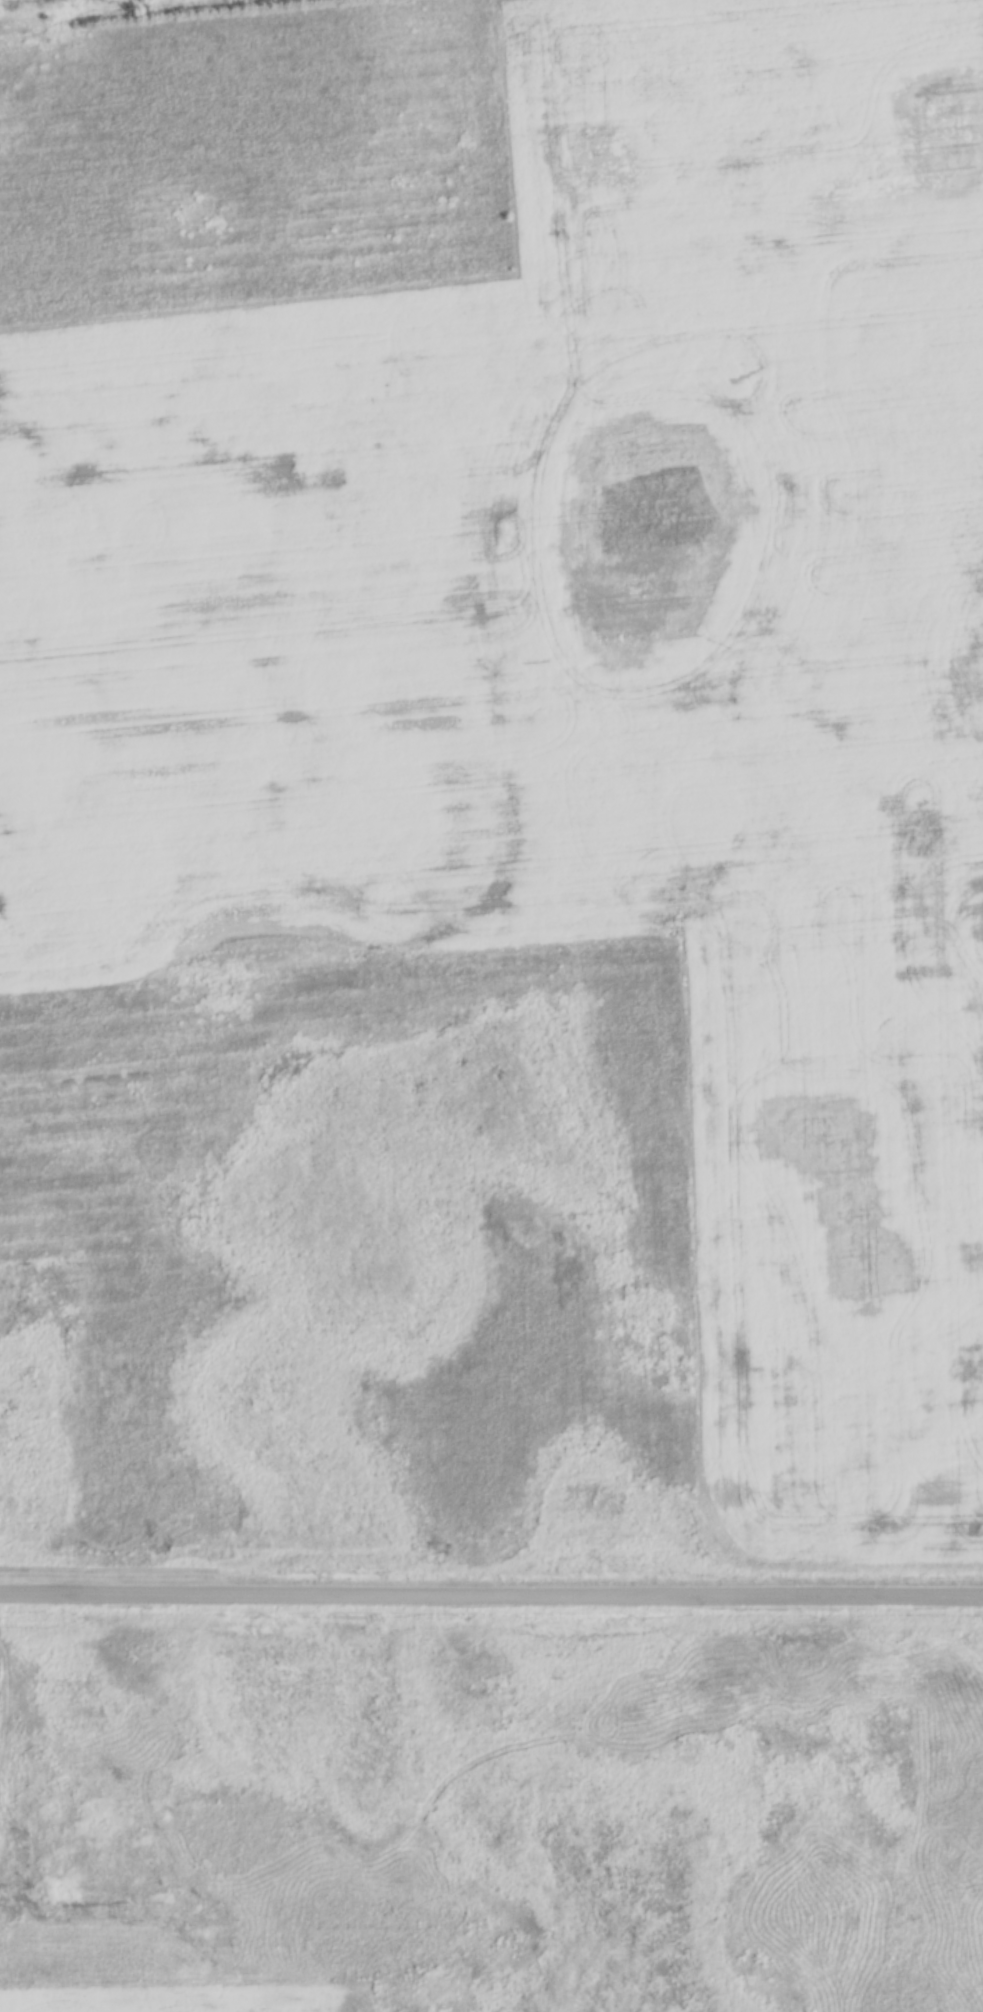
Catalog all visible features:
road: (491, 1594)

